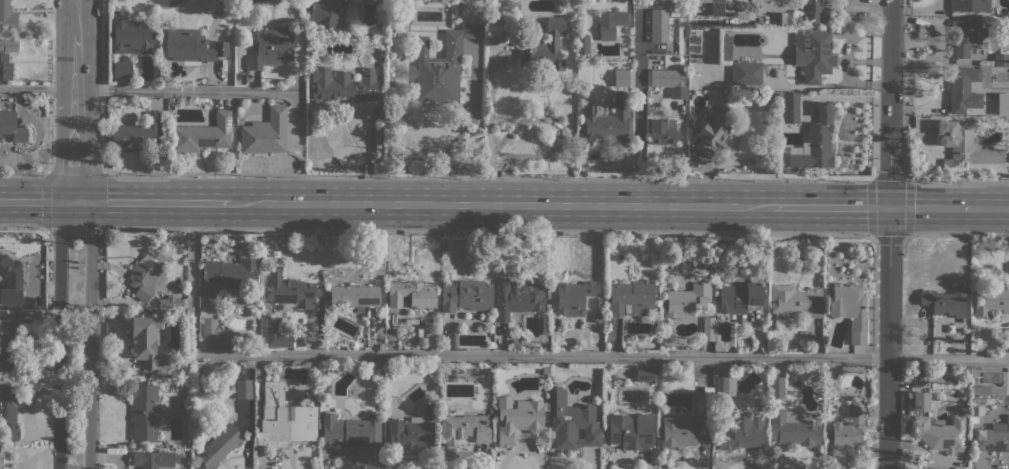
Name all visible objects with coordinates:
building: (717, 1)
building: (969, 4)
building: (511, 5)
building: (812, 11)
building: (330, 12)
building: (403, 15)
building: (7, 16)
road: (77, 17)
building: (781, 18)
building: (497, 21)
building: (610, 23)
building: (130, 34)
building: (964, 35)
building: (583, 43)
building: (192, 46)
building: (543, 47)
building: (724, 47)
building: (271, 48)
building: (813, 54)
building: (382, 55)
building: (7, 57)
building: (1001, 59)
building: (441, 66)
road: (76, 67)
building: (122, 69)
building: (747, 73)
building: (344, 85)
road: (148, 91)
building: (963, 92)
building: (644, 103)
building: (791, 106)
building: (606, 121)
building: (11, 127)
building: (663, 131)
building: (715, 132)
building: (265, 133)
building: (202, 134)
building: (138, 136)
building: (816, 140)
building: (963, 146)
road: (76, 151)
building: (1006, 155)
building: (781, 162)
road: (23, 173)
road: (140, 173)
road: (653, 177)
road: (873, 177)
road: (37, 201)
road: (47, 201)
traffic signals: (76, 202)
road: (152, 202)
road: (501, 204)
road: (830, 206)
traffic signals: (889, 207)
road: (930, 207)
road: (990, 208)
road: (23, 226)
road: (488, 231)
road: (889, 234)
road: (935, 235)
building: (146, 273)
building: (232, 273)
building: (10, 281)
building: (293, 293)
building: (411, 294)
building: (465, 295)
building: (630, 295)
building: (354, 296)
building: (516, 297)
building: (572, 297)
building: (739, 298)
building: (991, 299)
building: (686, 300)
building: (795, 301)
building: (944, 301)
building: (170, 302)
building: (637, 308)
building: (850, 309)
building: (351, 316)
building: (596, 317)
building: (778, 322)
building: (708, 328)
road: (59, 333)
road: (90, 333)
building: (276, 333)
building: (453, 338)
building: (380, 339)
building: (430, 340)
building: (147, 341)
building: (9, 344)
building: (515, 344)
building: (1004, 344)
building: (319, 345)
road: (525, 355)
building: (759, 372)
building: (645, 374)
building: (918, 378)
building: (724, 386)
building: (776, 387)
building: (243, 389)
building: (979, 389)
building: (918, 401)
building: (972, 401)
building: (9, 410)
building: (145, 411)
building: (517, 418)
building: (283, 419)
building: (973, 419)
building: (571, 422)
building: (849, 428)
building: (412, 429)
building: (462, 429)
building: (683, 429)
building: (792, 429)
building: (350, 431)
building: (631, 431)
building: (743, 432)
building: (941, 433)
building: (994, 435)
building: (219, 447)
building: (1, 459)
building: (154, 459)

